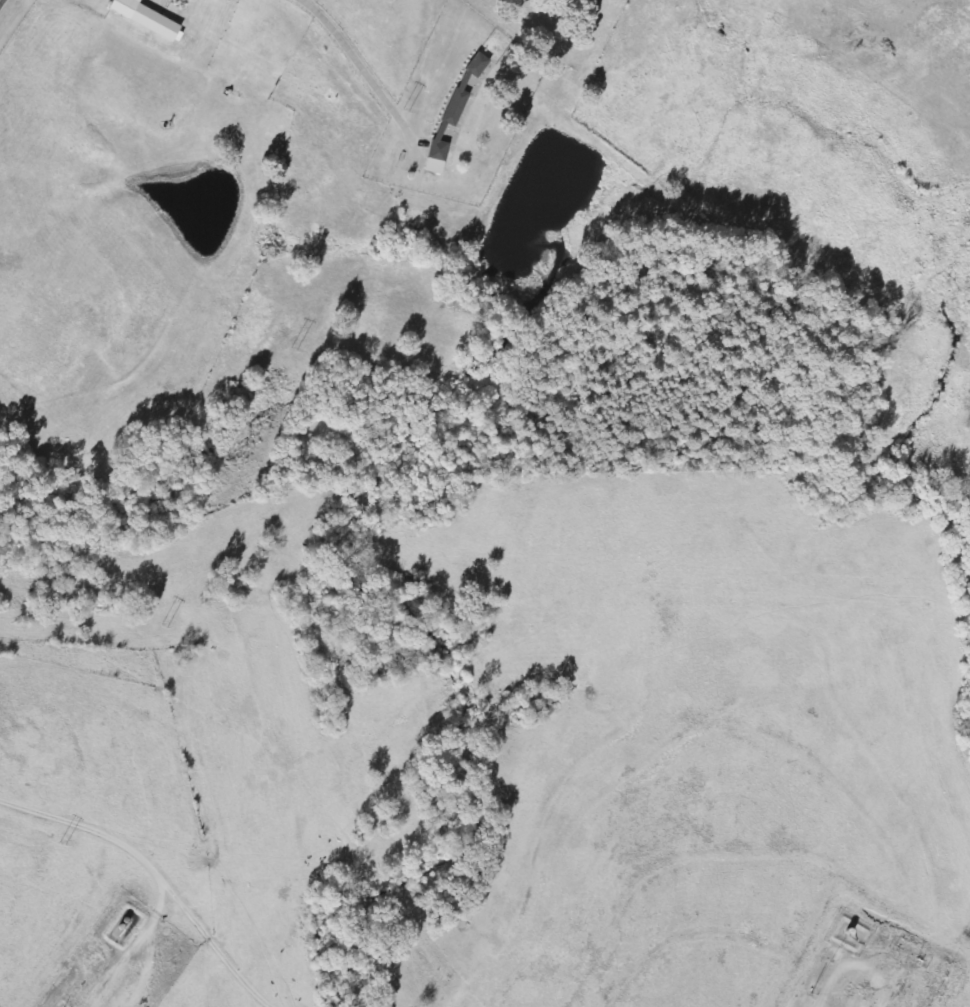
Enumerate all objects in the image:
building: (145, 18)
building: (462, 86)
power tower: (405, 111)
building: (438, 154)
power tower: (293, 349)
power tower: (164, 625)
power tower: (61, 842)

